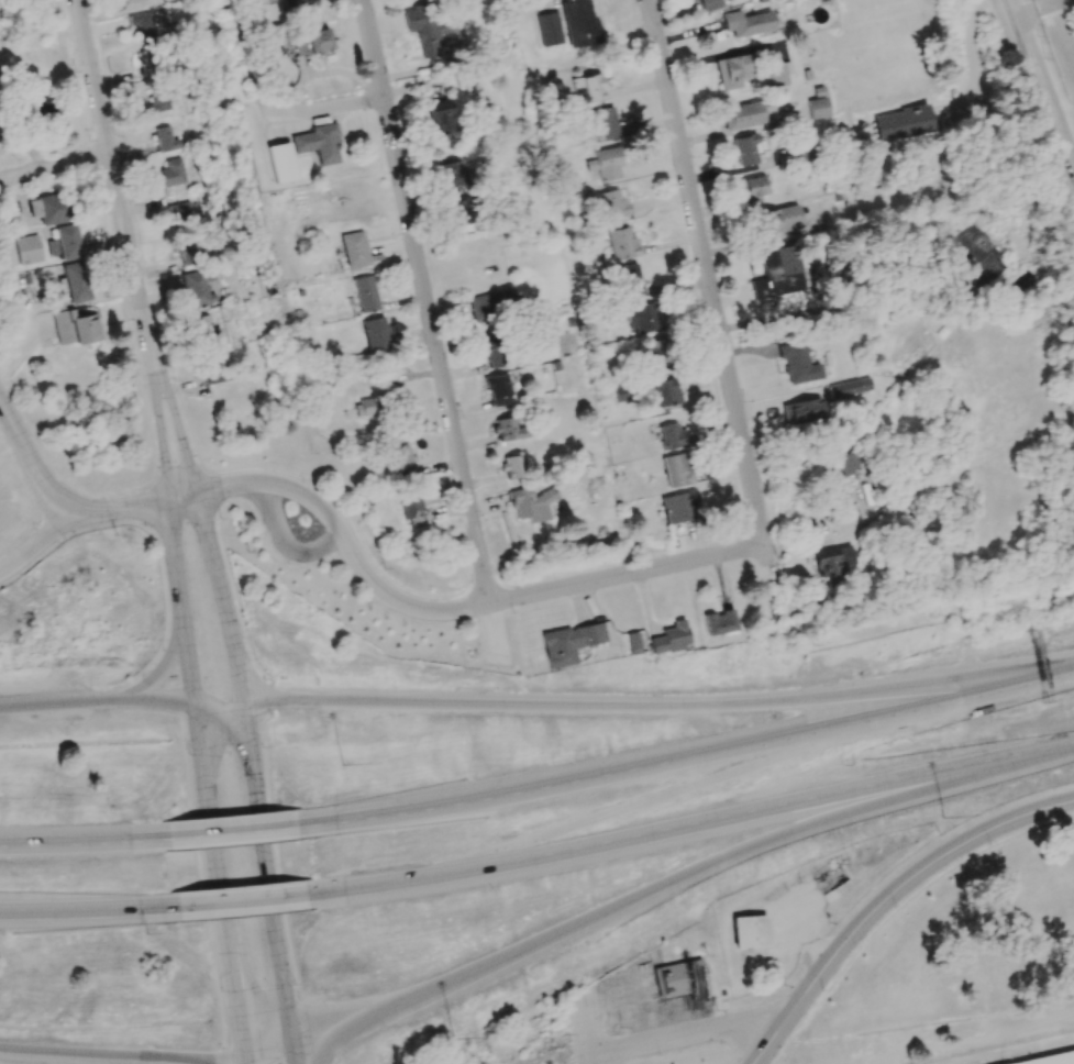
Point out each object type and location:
building: (131, 1)
road: (1044, 1)
building: (300, 4)
building: (710, 4)
road: (1030, 10)
building: (579, 23)
building: (748, 23)
building: (142, 25)
building: (423, 27)
building: (549, 29)
road: (246, 58)
road: (976, 67)
building: (732, 71)
road: (1045, 73)
building: (777, 74)
building: (595, 90)
road: (1036, 95)
building: (157, 99)
building: (38, 104)
building: (817, 104)
road: (330, 106)
building: (742, 115)
building: (441, 120)
building: (901, 123)
building: (601, 124)
building: (166, 140)
building: (318, 143)
building: (744, 149)
road: (54, 162)
building: (288, 163)
building: (605, 163)
building: (178, 174)
building: (450, 177)
building: (753, 190)
building: (612, 204)
building: (47, 209)
building: (180, 212)
building: (456, 212)
building: (782, 219)
building: (65, 243)
building: (622, 244)
road: (129, 248)
building: (362, 248)
building: (27, 250)
building: (188, 252)
building: (974, 254)
road: (706, 268)
building: (777, 273)
building: (629, 280)
building: (76, 282)
building: (200, 288)
building: (365, 293)
road: (840, 304)
building: (492, 306)
building: (642, 319)
building: (206, 328)
road: (433, 333)
building: (375, 335)
building: (490, 351)
building: (656, 354)
building: (798, 364)
building: (217, 372)
building: (849, 387)
building: (497, 390)
building: (664, 391)
building: (365, 408)
building: (801, 413)
building: (507, 426)
building: (671, 436)
road: (33, 458)
building: (399, 461)
building: (512, 466)
building: (842, 467)
building: (676, 469)
road: (269, 483)
building: (531, 503)
road: (129, 505)
building: (410, 507)
building: (679, 507)
road: (828, 542)
road: (37, 543)
road: (286, 544)
building: (832, 559)
road: (534, 594)
road: (220, 596)
road: (180, 599)
building: (718, 622)
building: (671, 638)
building: (569, 642)
building: (633, 643)
road: (162, 674)
road: (221, 700)
road: (159, 701)
road: (62, 703)
road: (661, 703)
road: (685, 757)
street lamp: (341, 764)
road: (784, 771)
road: (1070, 811)
street lamp: (940, 817)
road: (689, 824)
road: (230, 832)
road: (82, 843)
road: (268, 872)
road: (219, 878)
road: (675, 878)
road: (239, 898)
road: (888, 899)
road: (87, 907)
building: (750, 931)
building: (680, 977)
road: (586, 1032)
road: (693, 1033)
street lamp: (451, 1040)
road: (266, 1051)
road: (121, 1053)
road: (291, 1055)
building: (1052, 1059)
road: (242, 1060)

